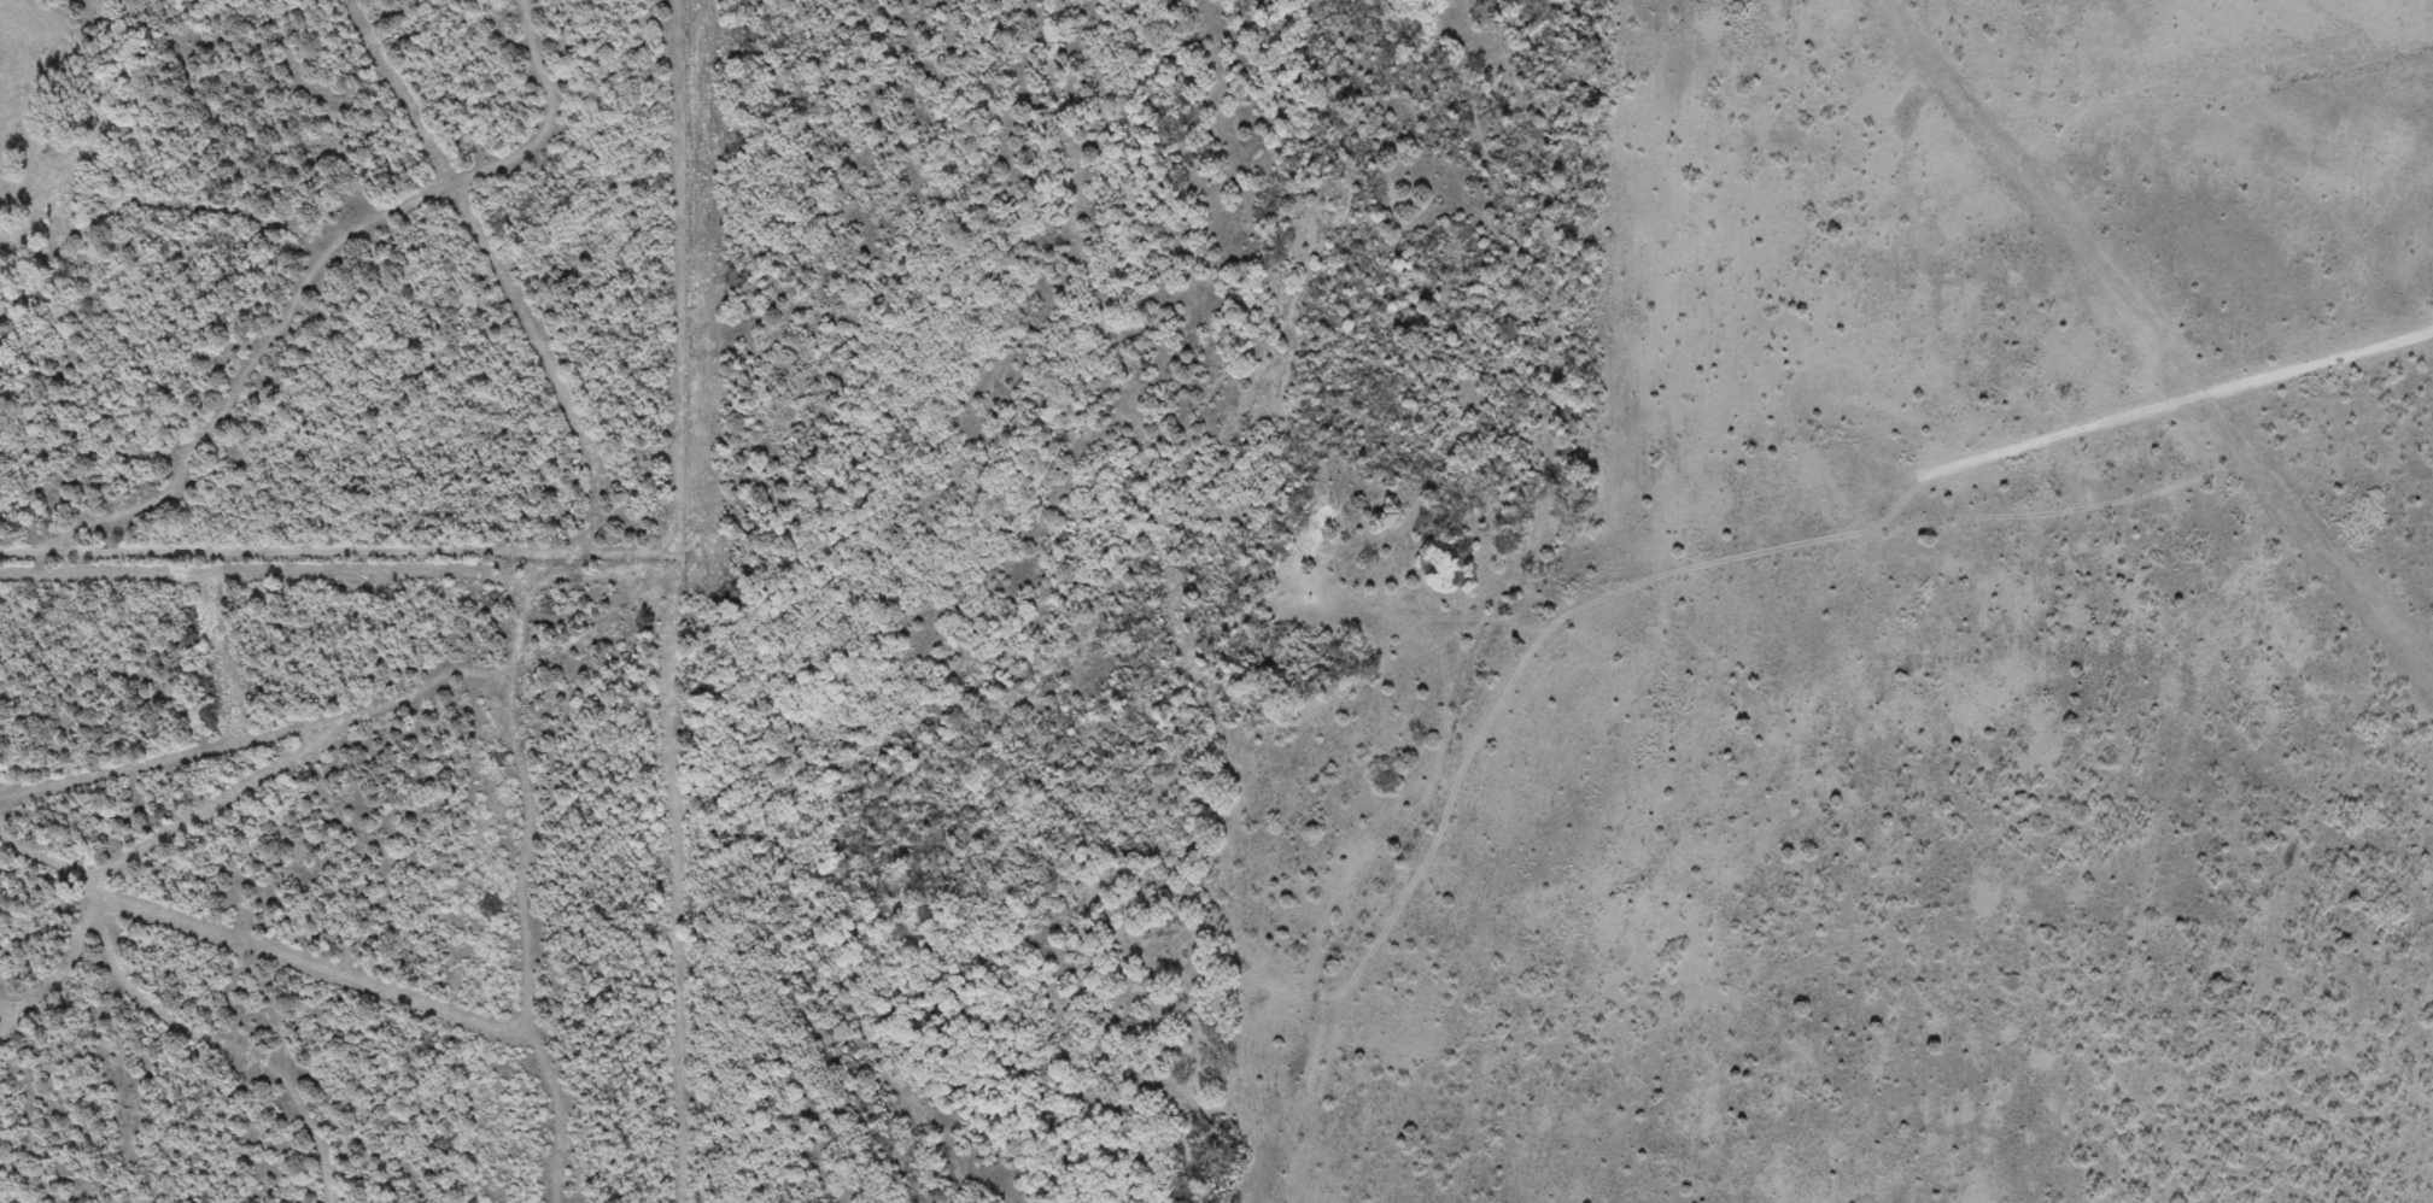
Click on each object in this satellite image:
road: (2178, 393)

